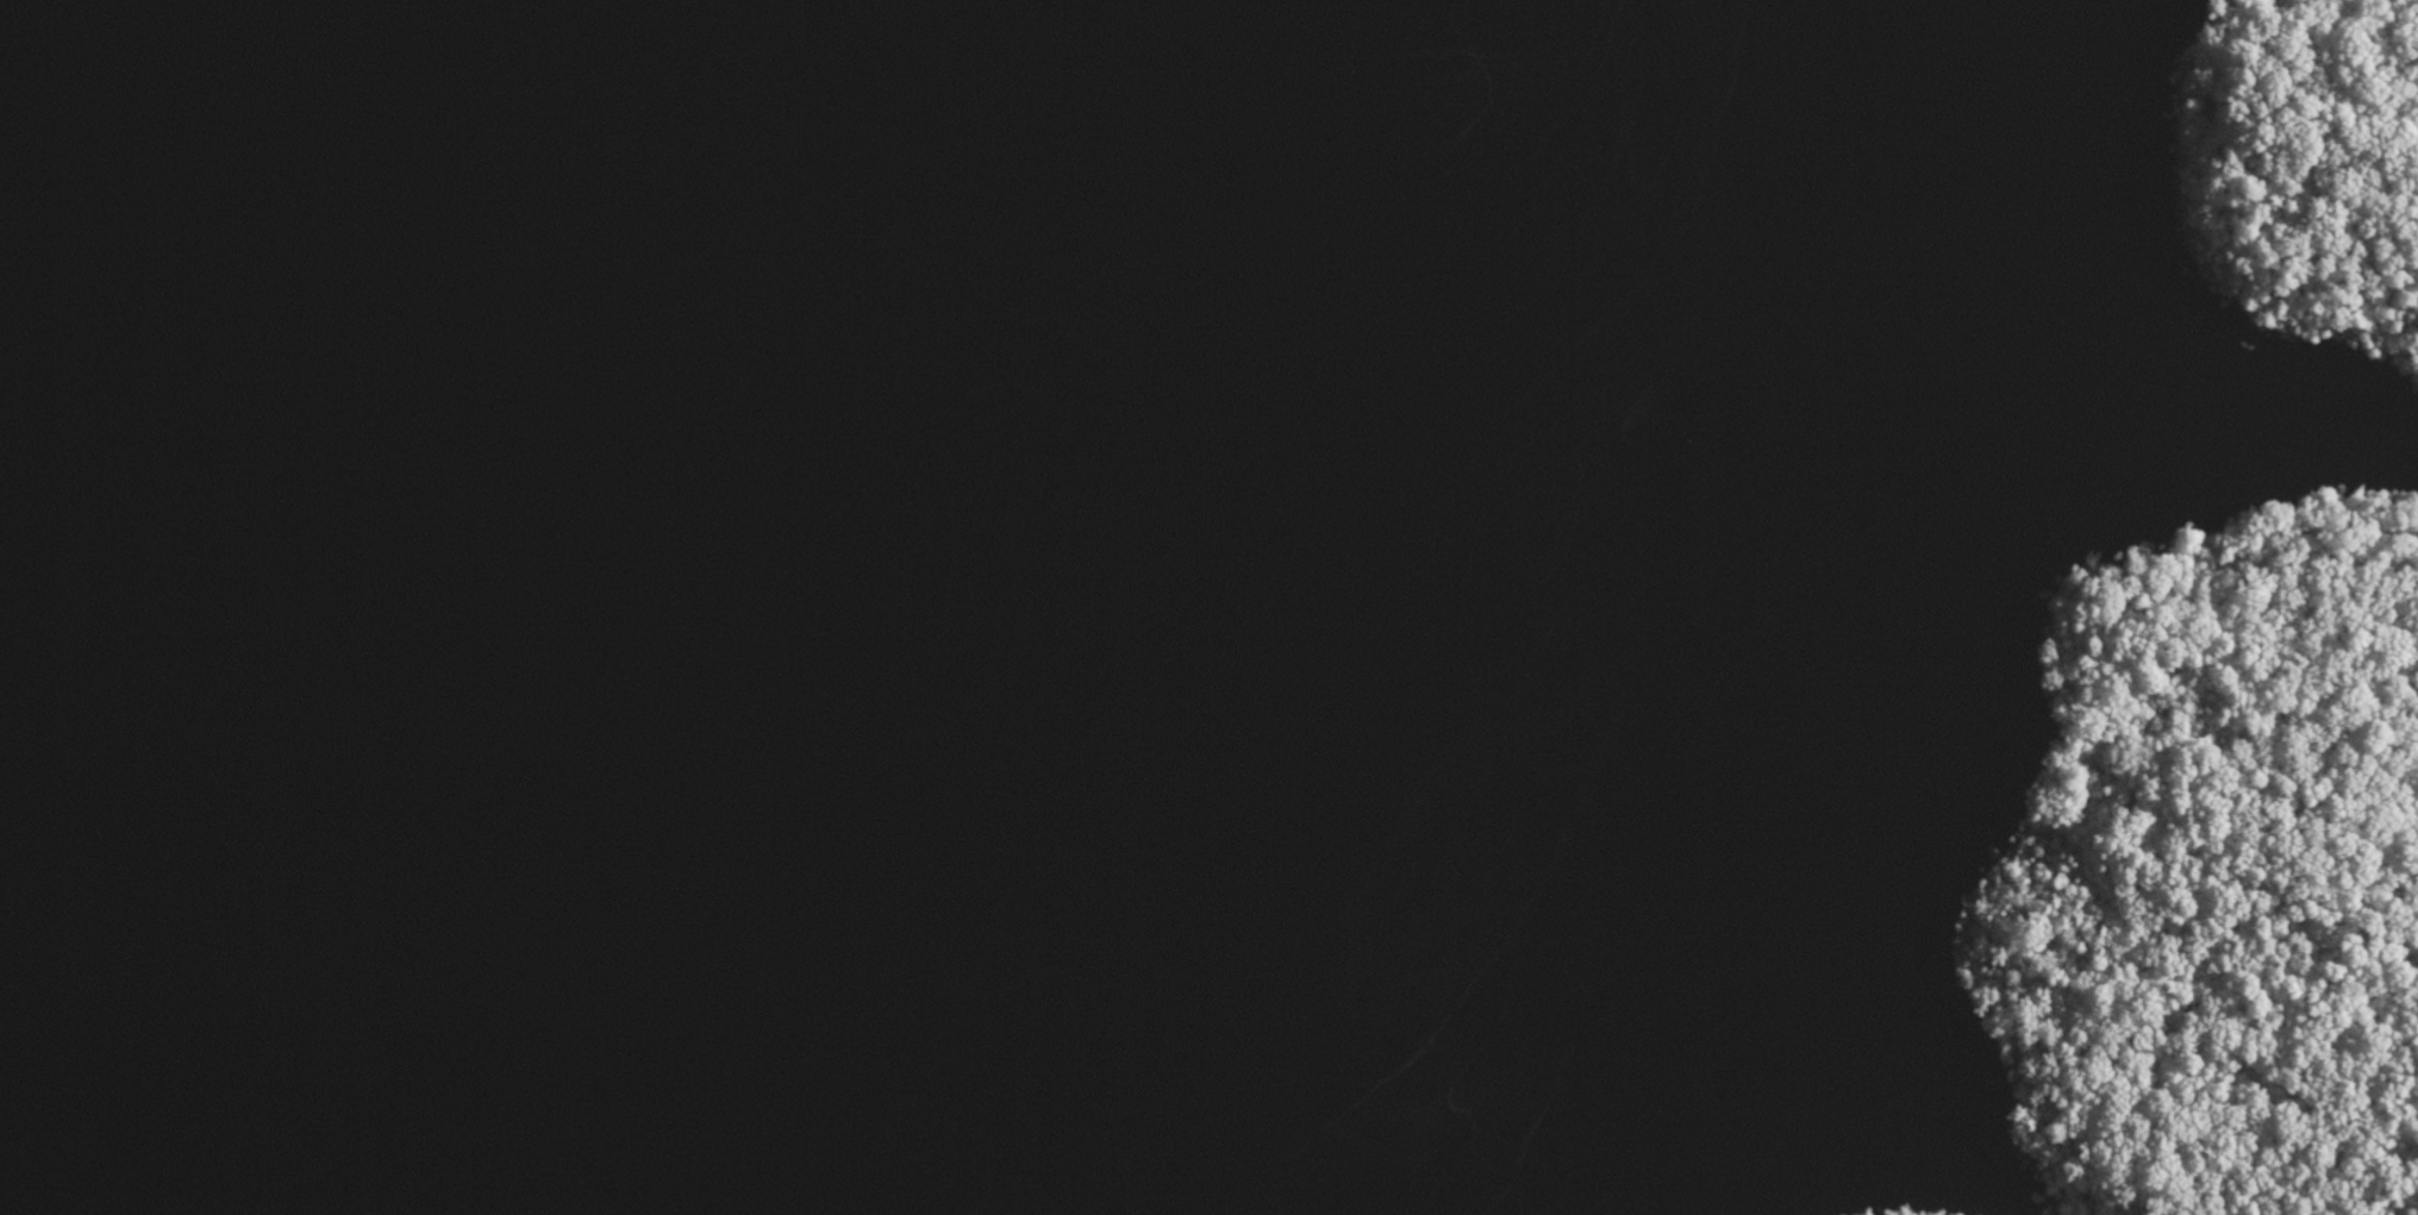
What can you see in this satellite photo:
river: (596, 600)

